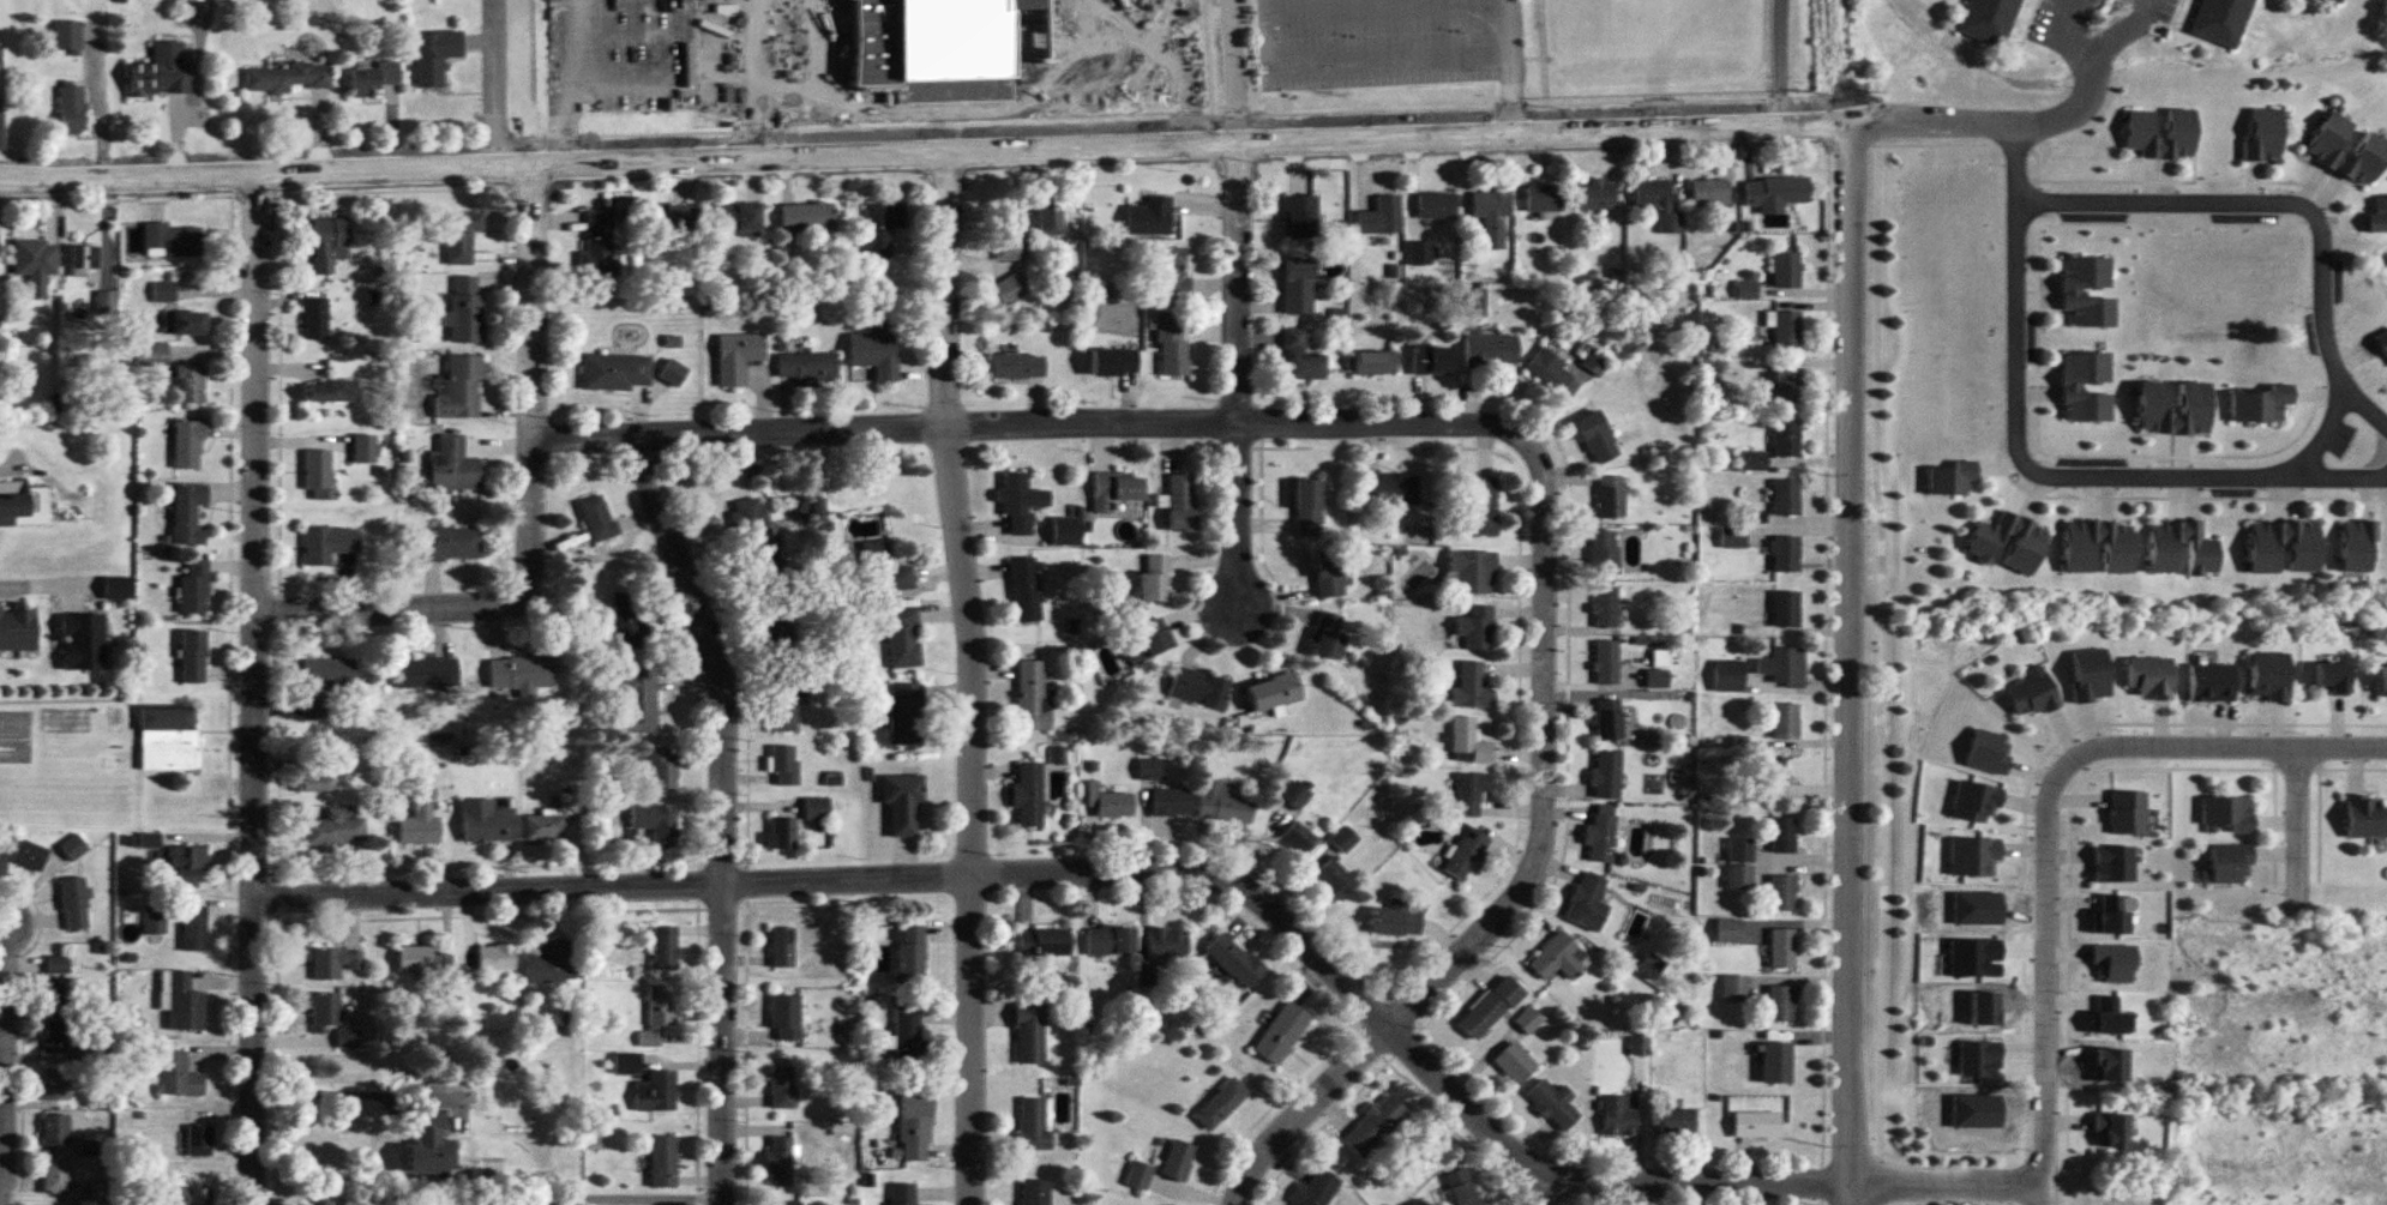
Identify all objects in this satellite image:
building: (2339, 0)
building: (1991, 20)
building: (2225, 20)
building: (66, 37)
road: (1158, 50)
building: (434, 55)
road: (1772, 61)
road: (1508, 65)
road: (2086, 65)
road: (1234, 71)
building: (161, 72)
road: (754, 74)
building: (287, 78)
building: (373, 78)
road: (489, 80)
road: (627, 89)
building: (71, 108)
road: (1988, 121)
building: (2141, 123)
building: (1, 131)
building: (2265, 137)
road: (924, 146)
building: (2325, 151)
building: (1708, 192)
building: (1597, 194)
building: (1775, 194)
building: (1544, 198)
building: (1659, 204)
building: (1437, 206)
building: (1492, 215)
building: (2377, 215)
building: (1301, 216)
building: (1382, 216)
road: (2311, 216)
building: (807, 217)
building: (1150, 217)
building: (669, 218)
building: (740, 218)
building: (1050, 218)
building: (882, 227)
building: (459, 237)
building: (1010, 237)
building: (172, 240)
building: (327, 243)
building: (597, 243)
building: (35, 257)
building: (78, 261)
building: (1171, 270)
building: (1786, 270)
building: (1298, 287)
building: (1009, 290)
building: (163, 291)
building: (2087, 291)
building: (1473, 301)
building: (464, 311)
building: (315, 319)
building: (184, 323)
building: (1786, 329)
building: (1173, 348)
building: (1491, 349)
building: (876, 350)
building: (150, 354)
building: (738, 356)
building: (1301, 359)
building: (1432, 360)
building: (1114, 361)
building: (1595, 361)
building: (1375, 362)
building: (1017, 366)
building: (807, 367)
building: (1550, 369)
building: (615, 372)
building: (673, 372)
building: (190, 384)
building: (1787, 385)
building: (2086, 387)
building: (461, 388)
building: (331, 391)
road: (1240, 392)
building: (2195, 397)
building: (2260, 403)
road: (2363, 404)
road: (1021, 424)
building: (1595, 438)
building: (1785, 438)
building: (187, 444)
building: (363, 448)
building: (1752, 459)
building: (452, 465)
road: (2031, 470)
building: (318, 472)
building: (1950, 478)
building: (1389, 486)
building: (1116, 489)
building: (1785, 496)
building: (1610, 498)
building: (1182, 502)
building: (1021, 504)
building: (24, 505)
building: (1481, 507)
building: (1307, 508)
building: (818, 510)
building: (187, 513)
road: (539, 513)
building: (596, 518)
building: (754, 526)
building: (1065, 531)
building: (1732, 537)
building: (327, 544)
building: (450, 544)
building: (2358, 546)
building: (2026, 547)
building: (1603, 553)
building: (1784, 553)
building: (2202, 558)
building: (2266, 558)
building: (2079, 559)
building: (884, 568)
building: (1471, 573)
building: (1328, 574)
building: (1154, 578)
road: (40, 588)
building: (119, 588)
building: (194, 588)
building: (1024, 590)
building: (1606, 607)
building: (1786, 609)
building: (626, 621)
building: (768, 622)
building: (18, 628)
building: (1475, 628)
building: (902, 637)
building: (1328, 637)
building: (83, 640)
building: (1148, 641)
building: (193, 656)
building: (1606, 662)
road: (1852, 662)
building: (1787, 667)
building: (426, 673)
building: (519, 674)
road: (974, 674)
building: (1727, 676)
building: (2091, 676)
building: (2269, 676)
building: (2151, 679)
building: (2332, 679)
building: (2383, 680)
building: (2212, 682)
building: (323, 683)
road: (255, 687)
building: (1199, 687)
building: (1471, 688)
building: (1274, 692)
building: (2032, 694)
building: (1032, 697)
building: (783, 701)
building: (637, 703)
building: (904, 713)
building: (1607, 719)
building: (1785, 722)
building: (168, 737)
building: (1468, 743)
building: (1989, 752)
building: (783, 765)
building: (662, 769)
building: (1152, 770)
building: (1607, 775)
building: (1770, 776)
building: (317, 782)
building: (1471, 793)
building: (1027, 794)
building: (1295, 795)
building: (902, 801)
building: (1225, 801)
building: (1976, 801)
building: (1171, 802)
building: (1113, 805)
building: (816, 808)
road: (728, 809)
building: (2127, 813)
building: (2227, 814)
building: (2365, 817)
road: (2044, 819)
building: (487, 821)
building: (553, 821)
building: (420, 823)
building: (656, 823)
road: (2297, 823)
building: (335, 830)
building: (781, 835)
building: (1600, 835)
building: (1782, 835)
building: (1297, 838)
building: (1343, 839)
building: (73, 848)
building: (28, 854)
building: (1465, 854)
building: (1973, 856)
building: (2, 863)
building: (2114, 863)
building: (2231, 863)
road: (1533, 866)
building: (185, 867)
road: (1110, 873)
building: (1335, 879)
building: (1781, 892)
building: (1587, 903)
building: (73, 904)
building: (2111, 914)
building: (155, 920)
building: (1396, 922)
building: (194, 929)
building: (1111, 939)
building: (1045, 941)
building: (1168, 941)
building: (665, 947)
building: (781, 947)
building: (1781, 947)
building: (909, 953)
building: (495, 957)
building: (417, 958)
building: (1559, 958)
building: (1234, 959)
building: (335, 962)
building: (554, 963)
building: (2115, 963)
building: (58, 964)
building: (62, 995)
building: (182, 1002)
building: (1781, 1002)
building: (1489, 1008)
building: (325, 1013)
building: (657, 1016)
building: (784, 1019)
building: (1528, 1020)
building: (906, 1029)
building: (1029, 1032)
building: (1281, 1034)
road: (11, 1038)
building: (55, 1038)
building: (348, 1038)
building: (1979, 1059)
building: (1775, 1062)
building: (626, 1064)
building: (1515, 1064)
building: (179, 1077)
building: (55, 1085)
building: (782, 1087)
building: (656, 1092)
road: (338, 1098)
building: (1221, 1104)
building: (1553, 1104)
building: (1617, 1117)
building: (1676, 1121)
building: (1033, 1123)
building: (1756, 1125)
building: (1375, 1126)
building: (914, 1127)
building: (55, 1129)
building: (2111, 1131)
building: (199, 1141)
building: (428, 1143)
building: (1179, 1159)
building: (662, 1162)
building: (778, 1163)
building: (491, 1170)
building: (1140, 1175)
building: (55, 1176)
road: (1944, 1181)
road: (1531, 1185)
building: (1462, 1188)
building: (1318, 1189)
building: (1034, 1192)
road: (645, 1194)
building: (901, 1194)
building: (190, 1197)
building: (783, 1203)
building: (516, 1204)

